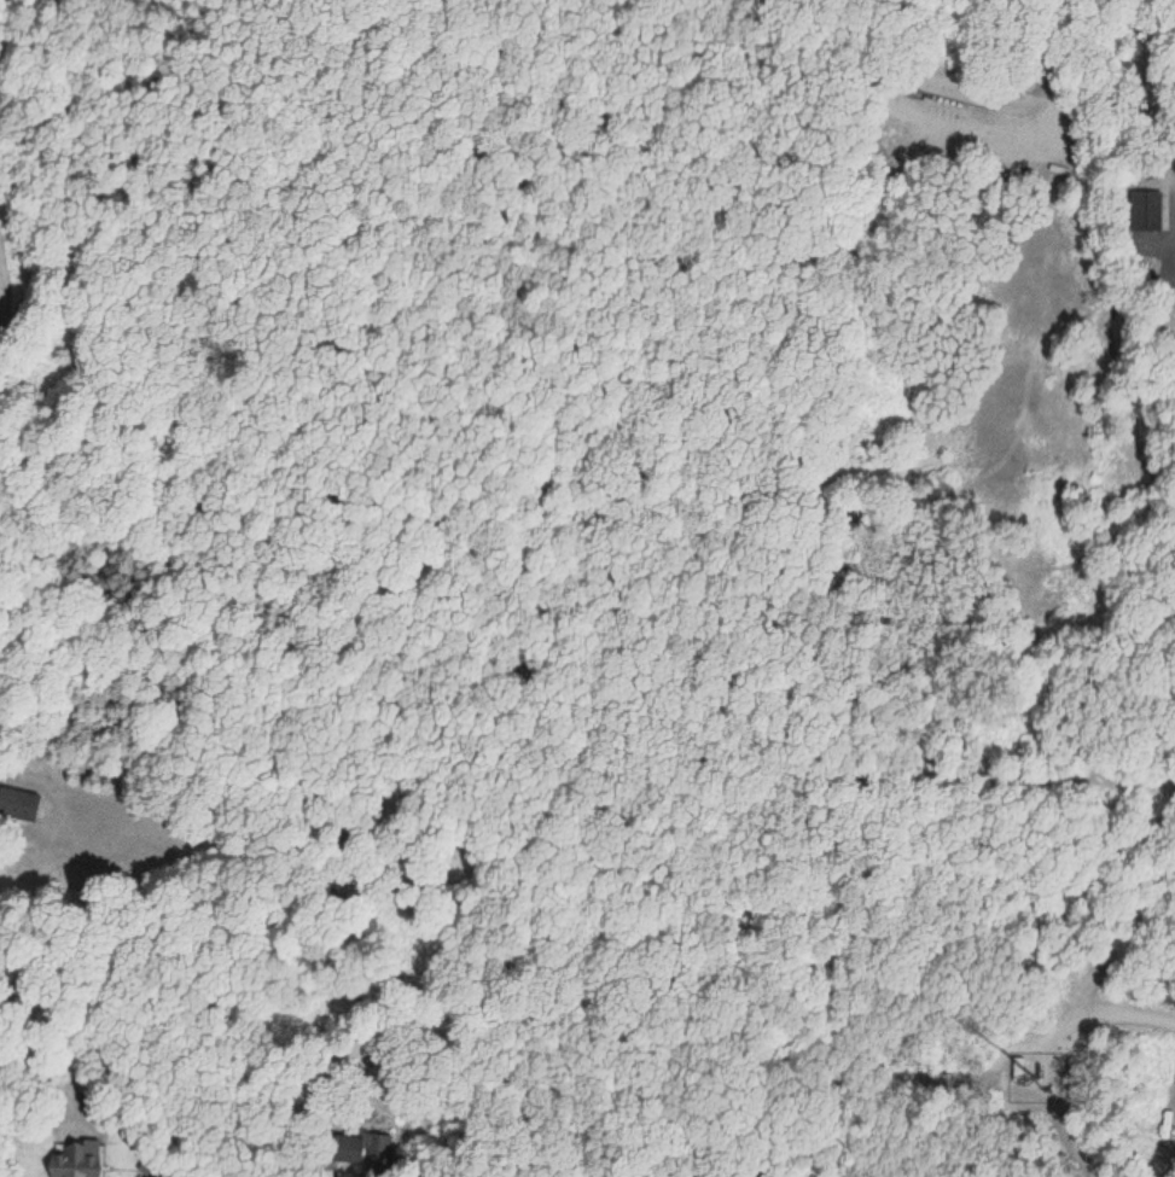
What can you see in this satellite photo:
building: (1144, 208)
building: (17, 804)
building: (356, 1148)
building: (71, 1163)

